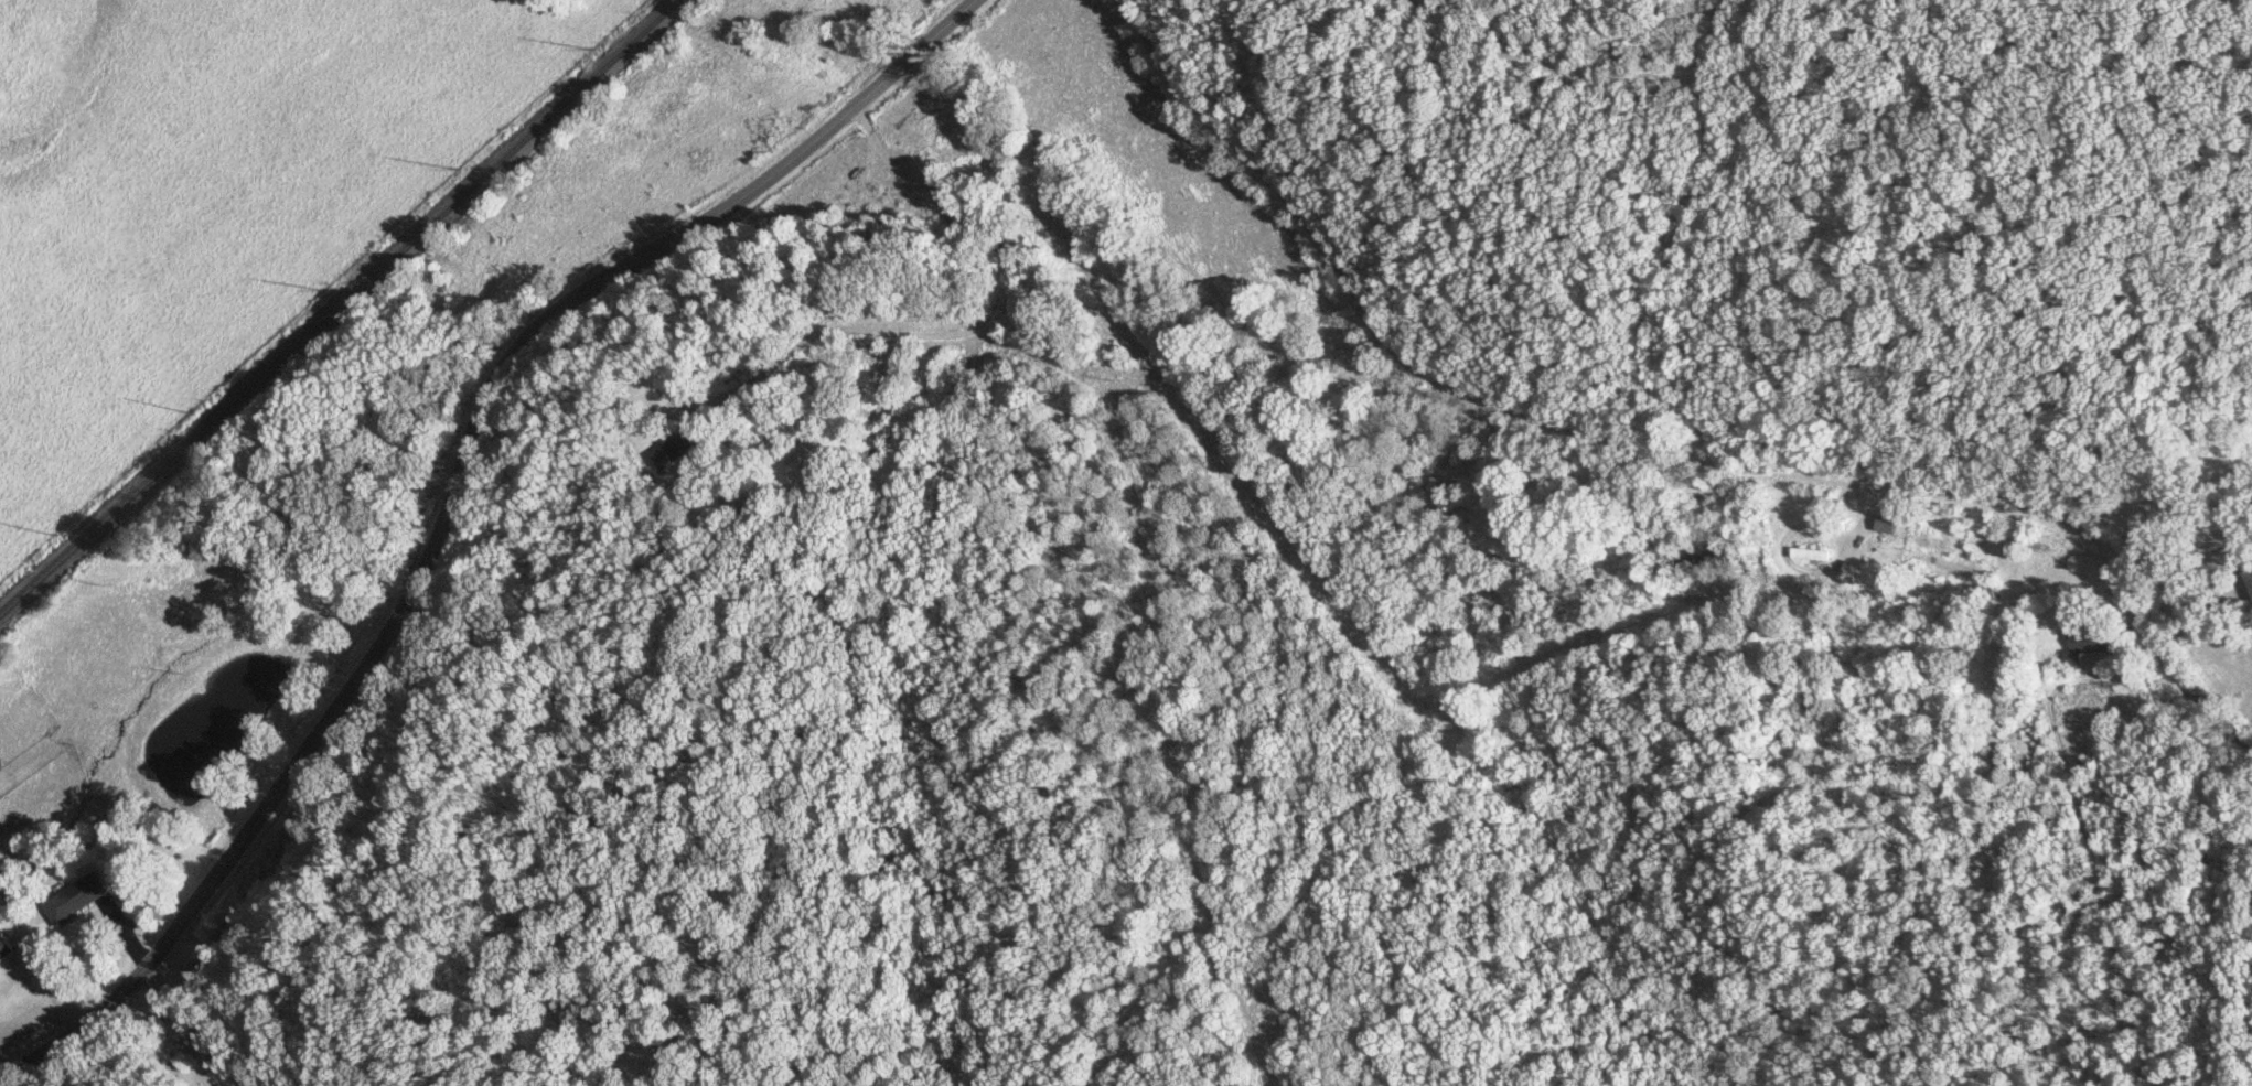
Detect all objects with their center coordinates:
road: (1541, 72)
road: (1680, 239)
railway: (341, 309)
road: (958, 320)
building: (742, 362)
road: (1659, 448)
building: (678, 449)
road: (447, 497)
building: (1886, 525)
building: (2250, 577)
road: (2171, 593)
building: (2083, 646)
building: (73, 899)
building: (3, 948)
road: (182, 1030)

